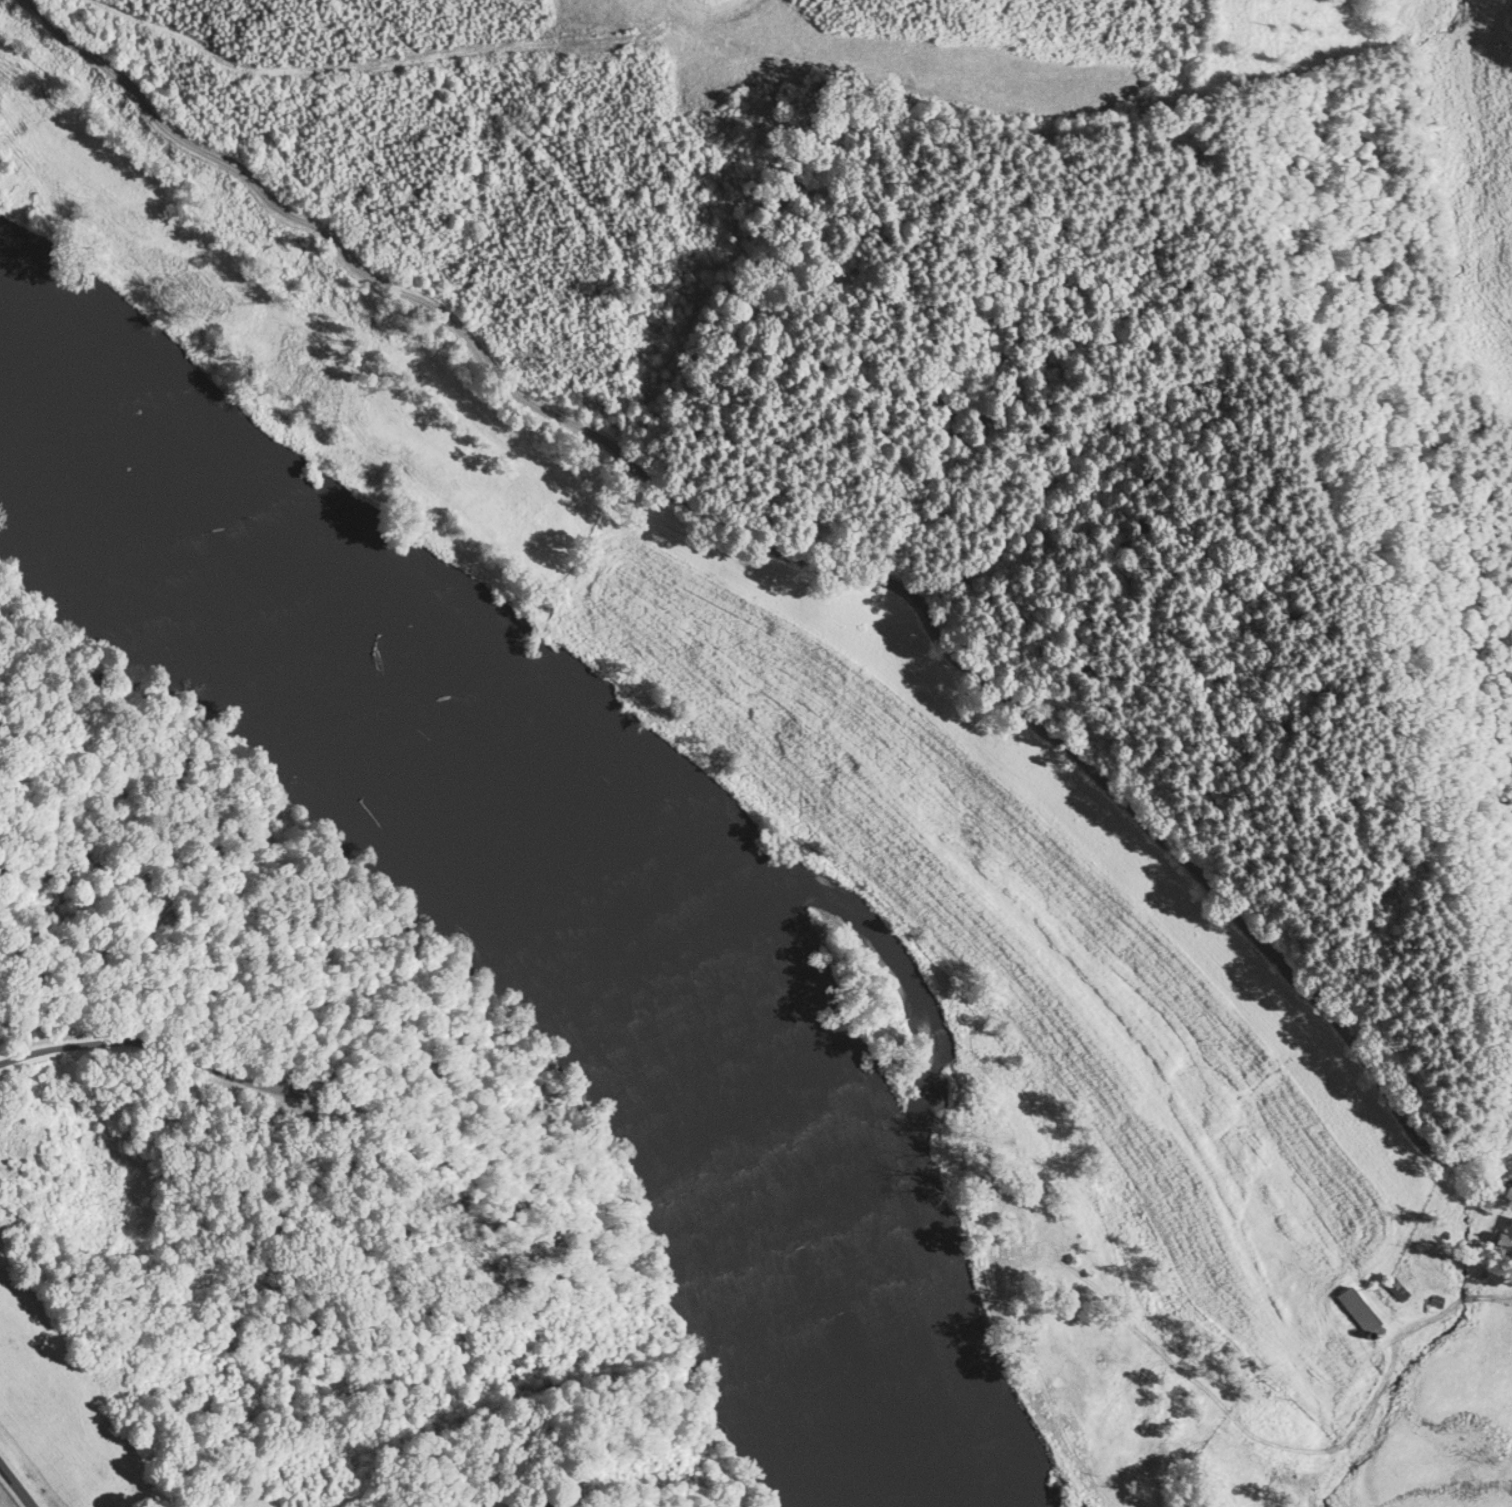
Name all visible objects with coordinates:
road: (799, 566)
river: (515, 891)
road: (70, 1043)
building: (1504, 1239)
building: (1394, 1288)
building: (1356, 1309)
road: (16, 1486)

